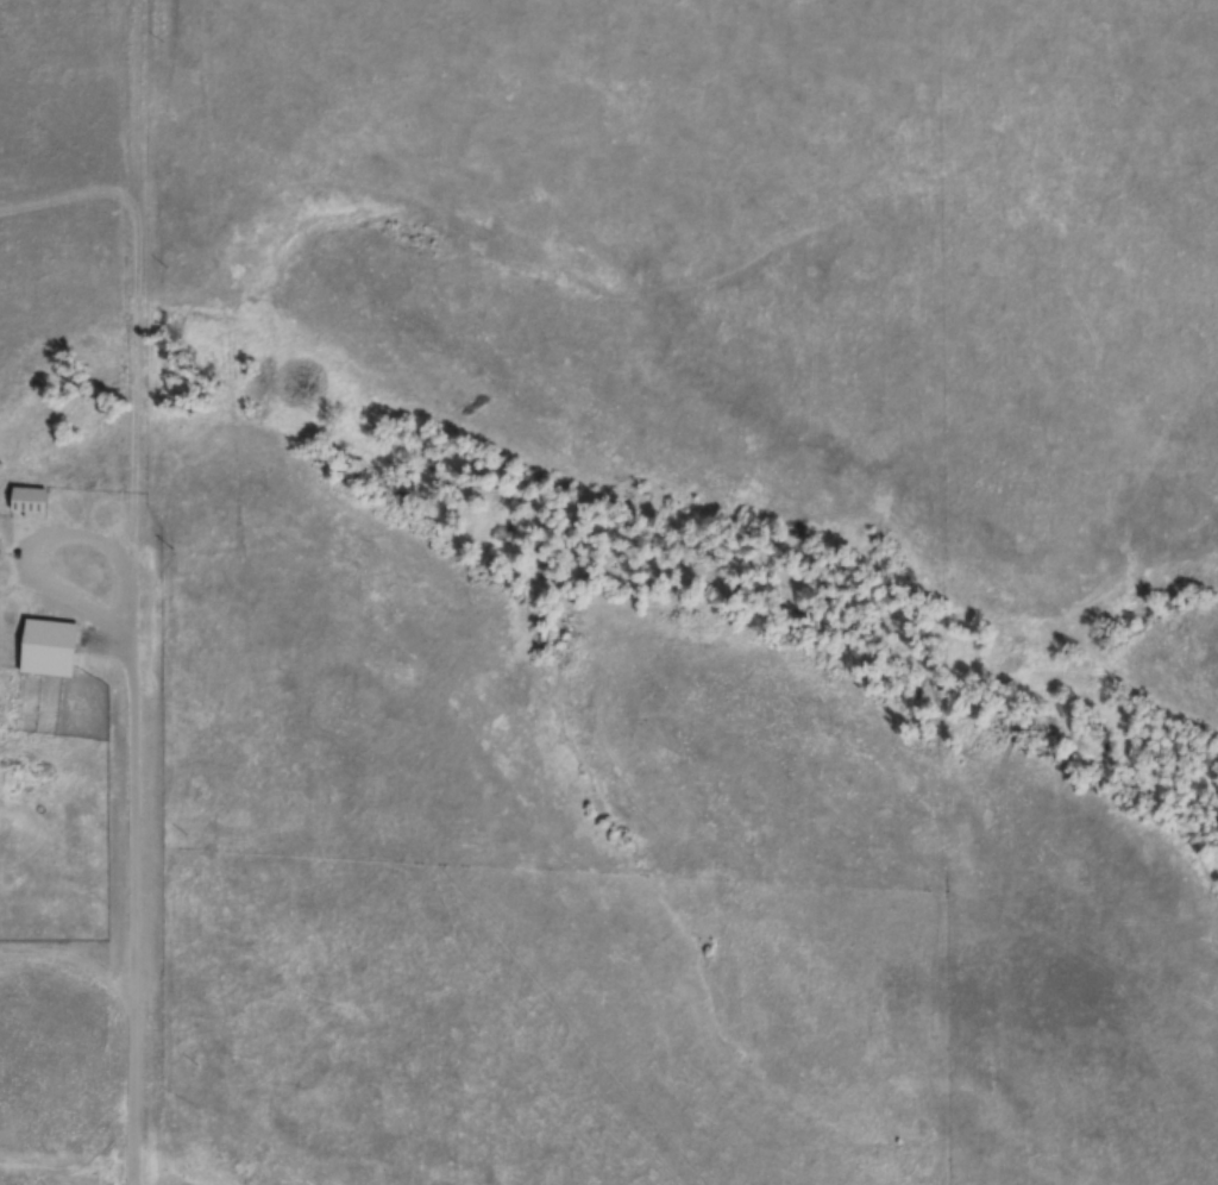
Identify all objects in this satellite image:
building: (43, 647)
road: (133, 1086)

